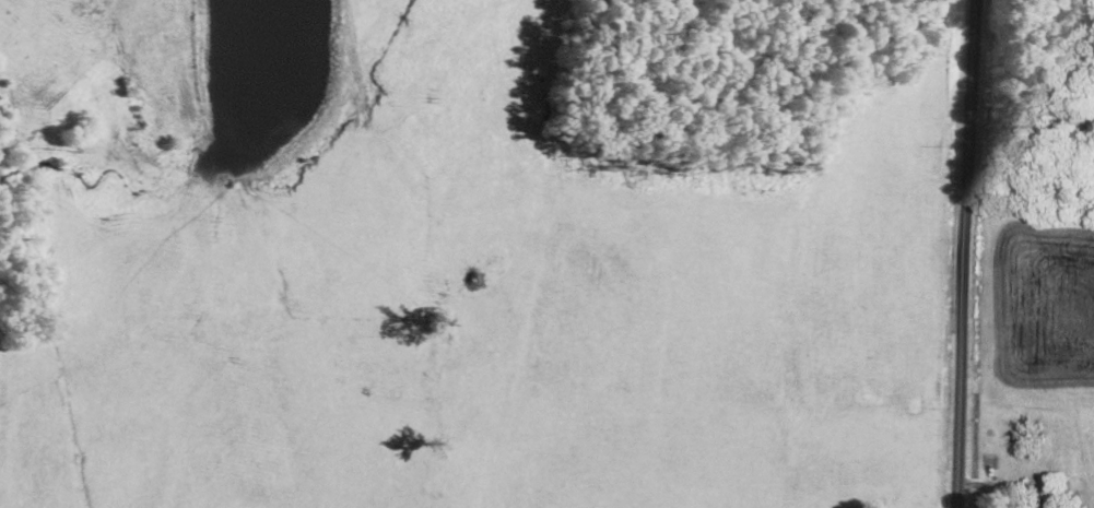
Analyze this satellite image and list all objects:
road: (965, 253)

